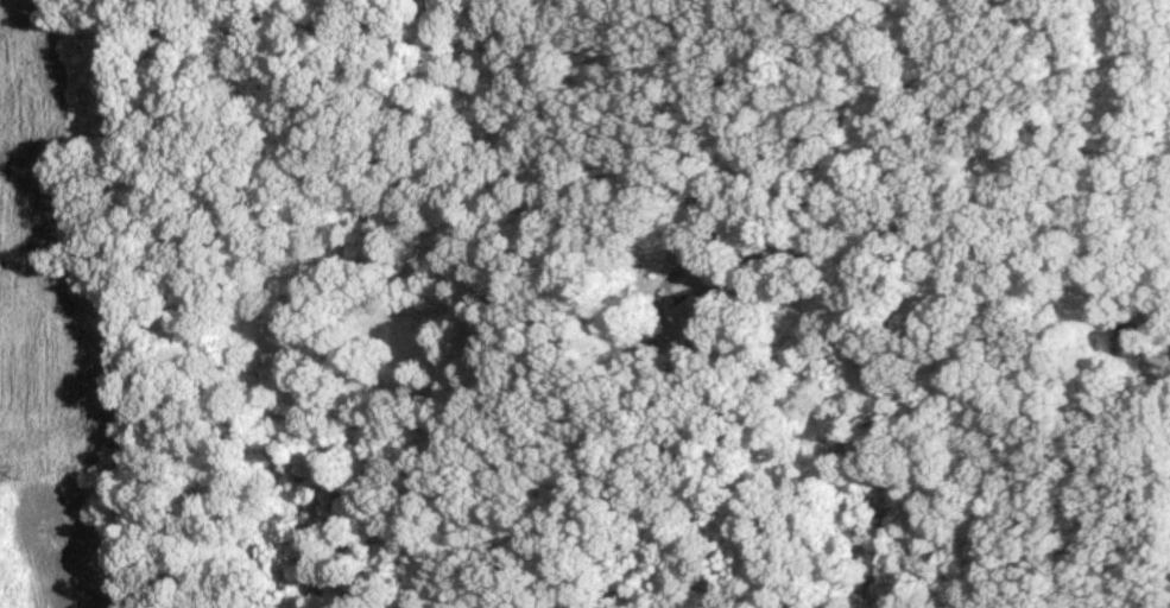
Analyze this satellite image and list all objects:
road: (932, 245)

